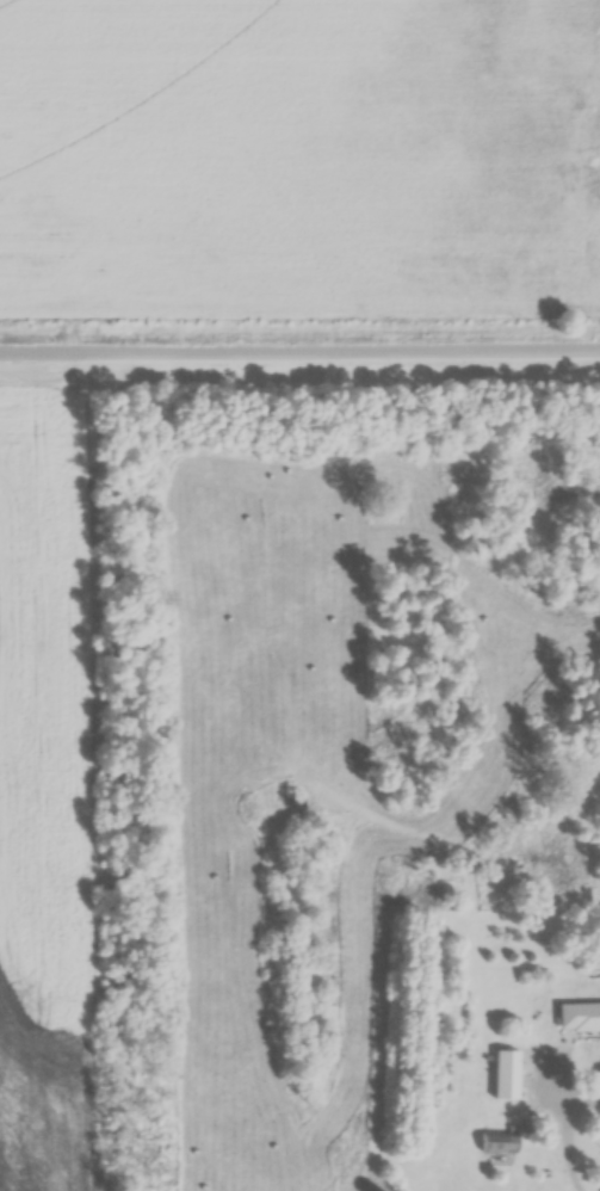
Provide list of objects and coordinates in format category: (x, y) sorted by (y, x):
road: (299, 357)
building: (577, 1018)
building: (506, 1076)
road: (563, 1133)
building: (497, 1144)

